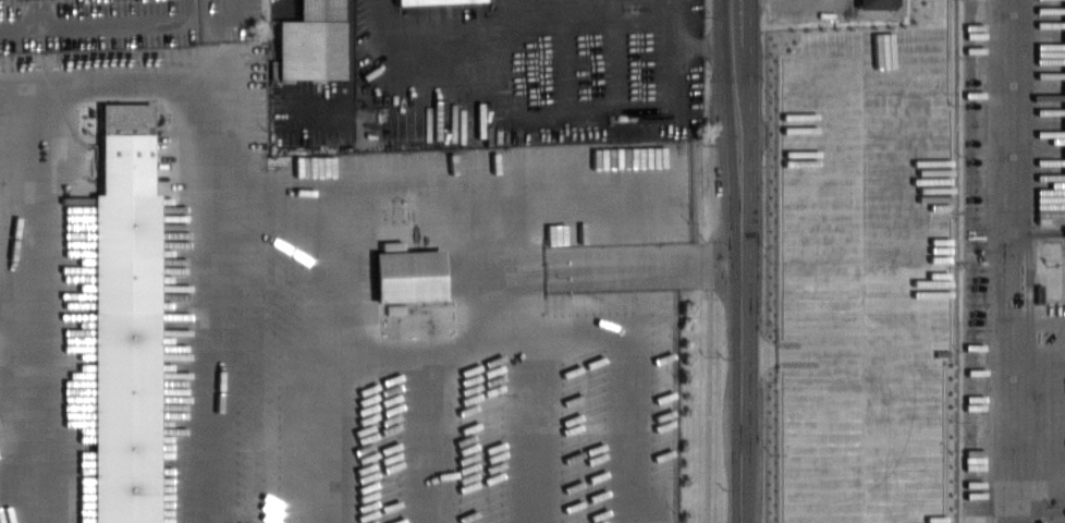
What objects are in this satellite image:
building: (434, 1)
parking lot: (803, 10)
road: (105, 21)
parking lot: (121, 22)
road: (524, 23)
building: (311, 40)
parking lot: (528, 70)
building: (1064, 78)
road: (276, 83)
road: (150, 88)
road: (509, 97)
road: (681, 98)
parking lot: (309, 99)
road: (589, 113)
road: (1009, 161)
road: (917, 170)
road: (37, 190)
road: (742, 260)
parking lot: (1014, 261)
road: (213, 270)
building: (411, 273)
parking lot: (866, 276)
parking lot: (320, 309)
building: (126, 320)
road: (482, 344)
road: (821, 348)
road: (19, 384)
road: (37, 388)
road: (532, 394)
road: (1009, 396)
road: (425, 434)
road: (19, 483)
road: (1038, 489)

